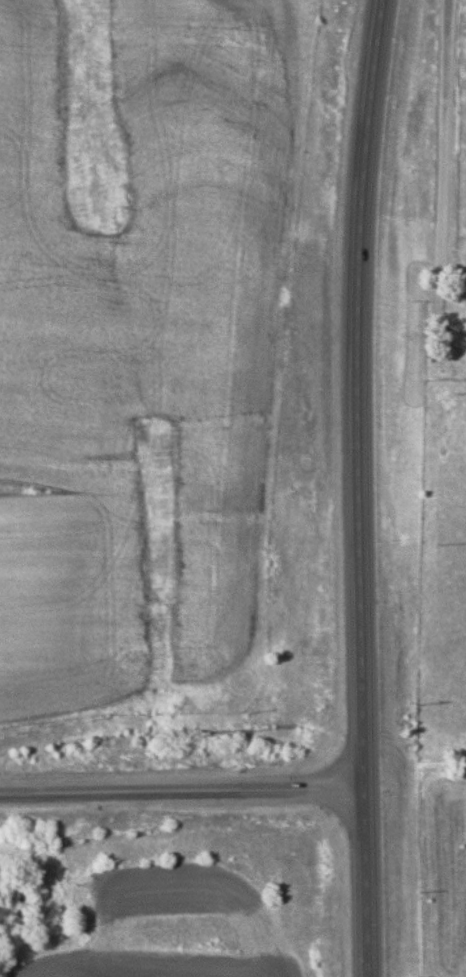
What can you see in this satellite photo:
road: (443, 177)
road: (357, 487)
road: (181, 799)

